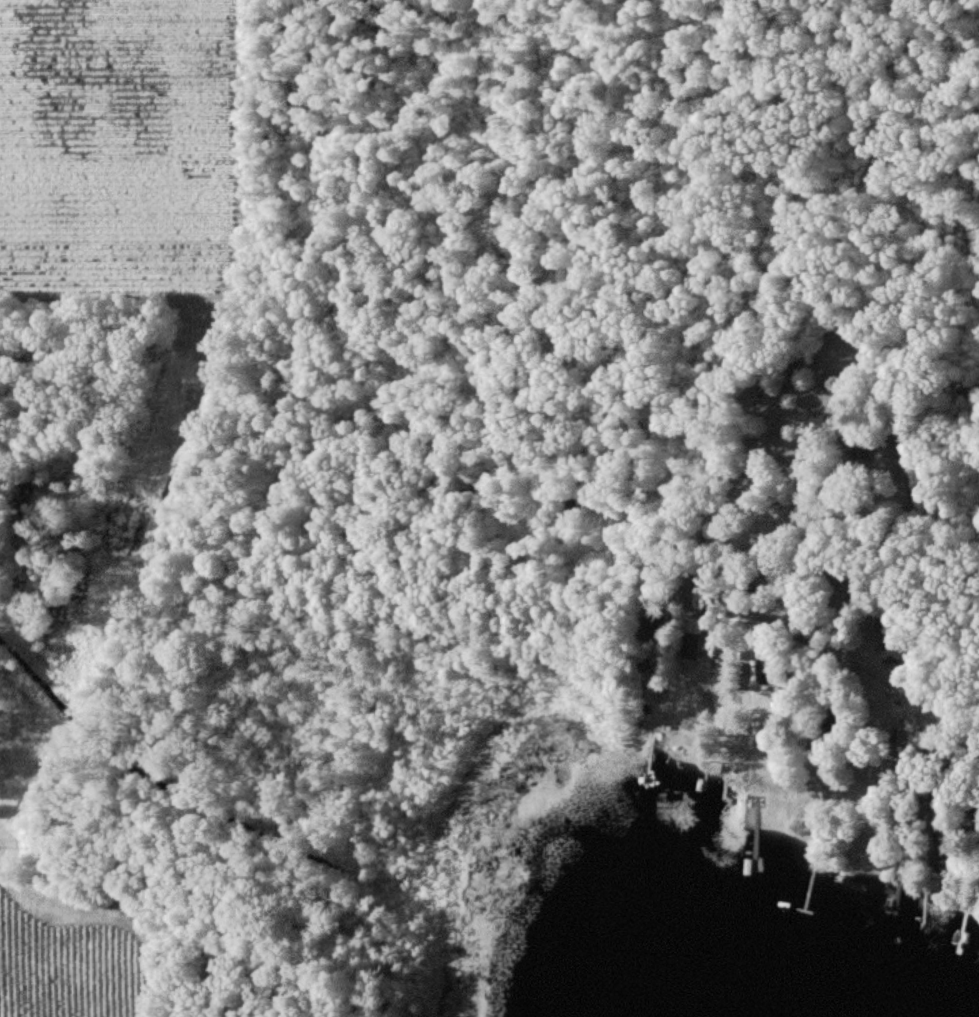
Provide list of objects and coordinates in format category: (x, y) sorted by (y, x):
building: (852, 446)
building: (653, 622)
road: (832, 640)
building: (692, 646)
building: (894, 650)
building: (767, 671)
building: (939, 855)

